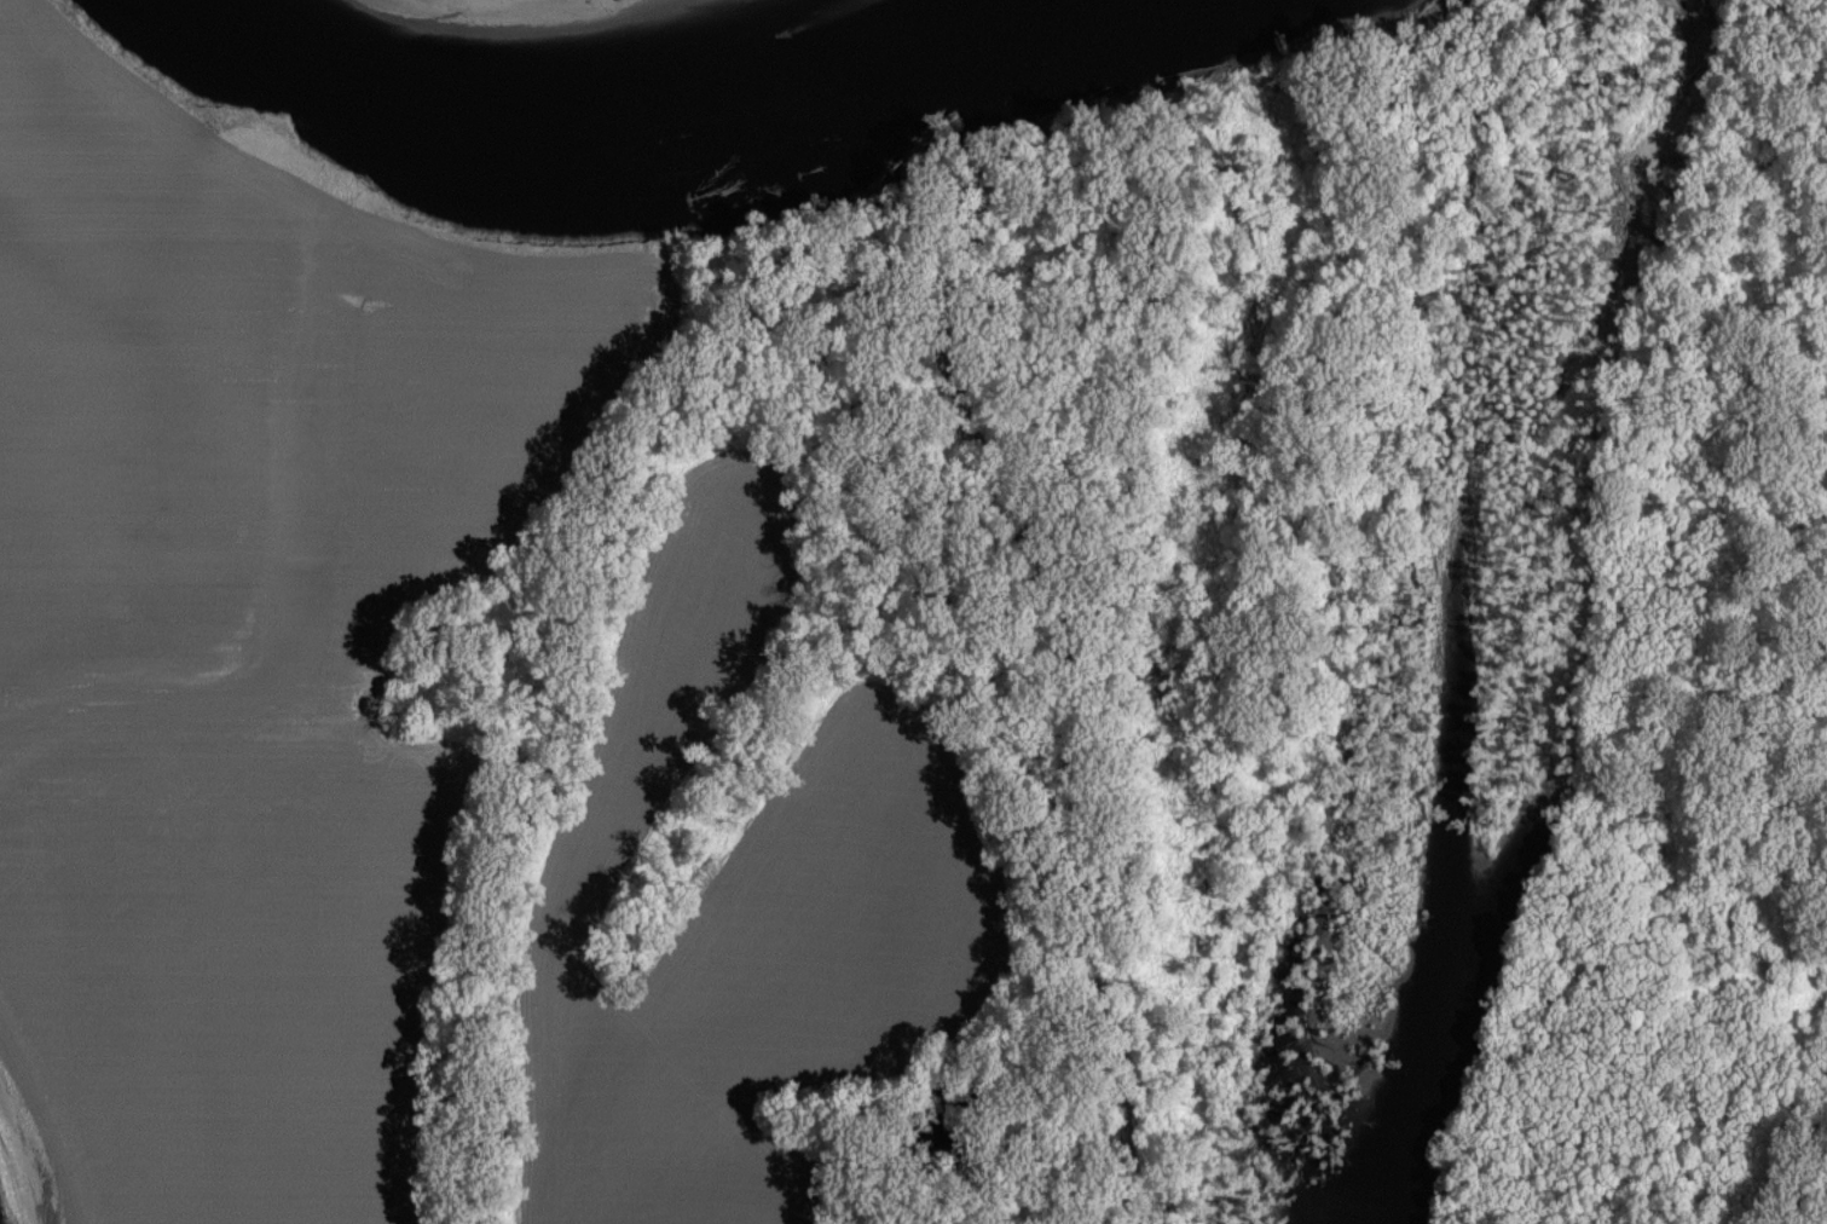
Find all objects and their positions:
river: (769, 7)
road: (46, 1142)

